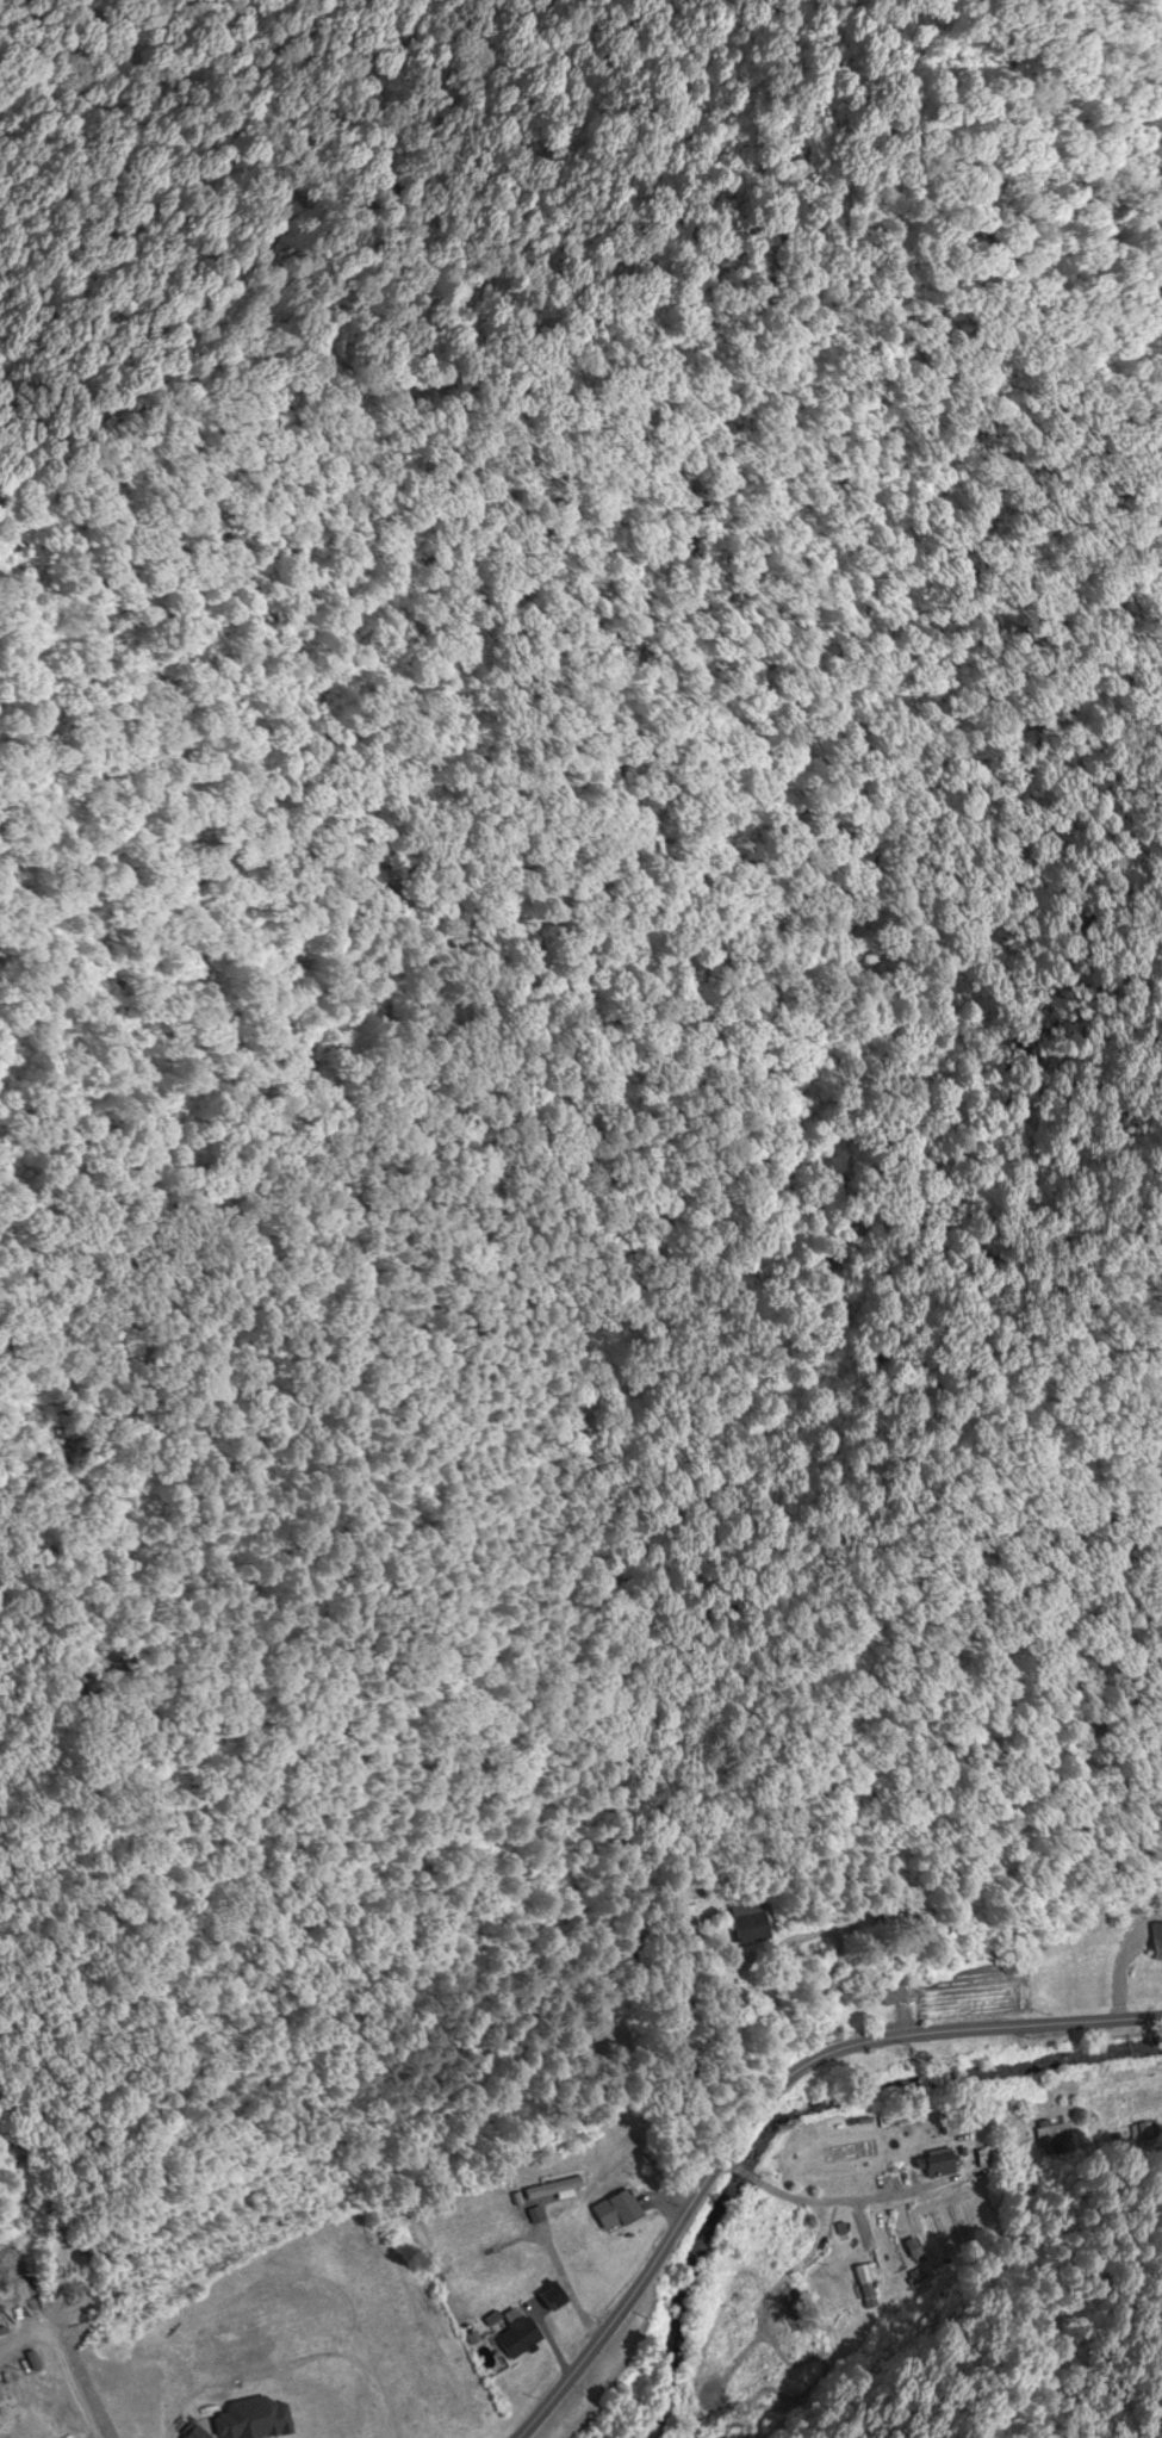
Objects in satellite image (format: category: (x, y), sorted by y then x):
building: (752, 1923)
building: (1157, 1943)
building: (895, 1992)
building: (1000, 2048)
building: (893, 2066)
road: (764, 2097)
building: (943, 2169)
building: (554, 2189)
building: (617, 2211)
building: (554, 2299)
building: (518, 2337)

